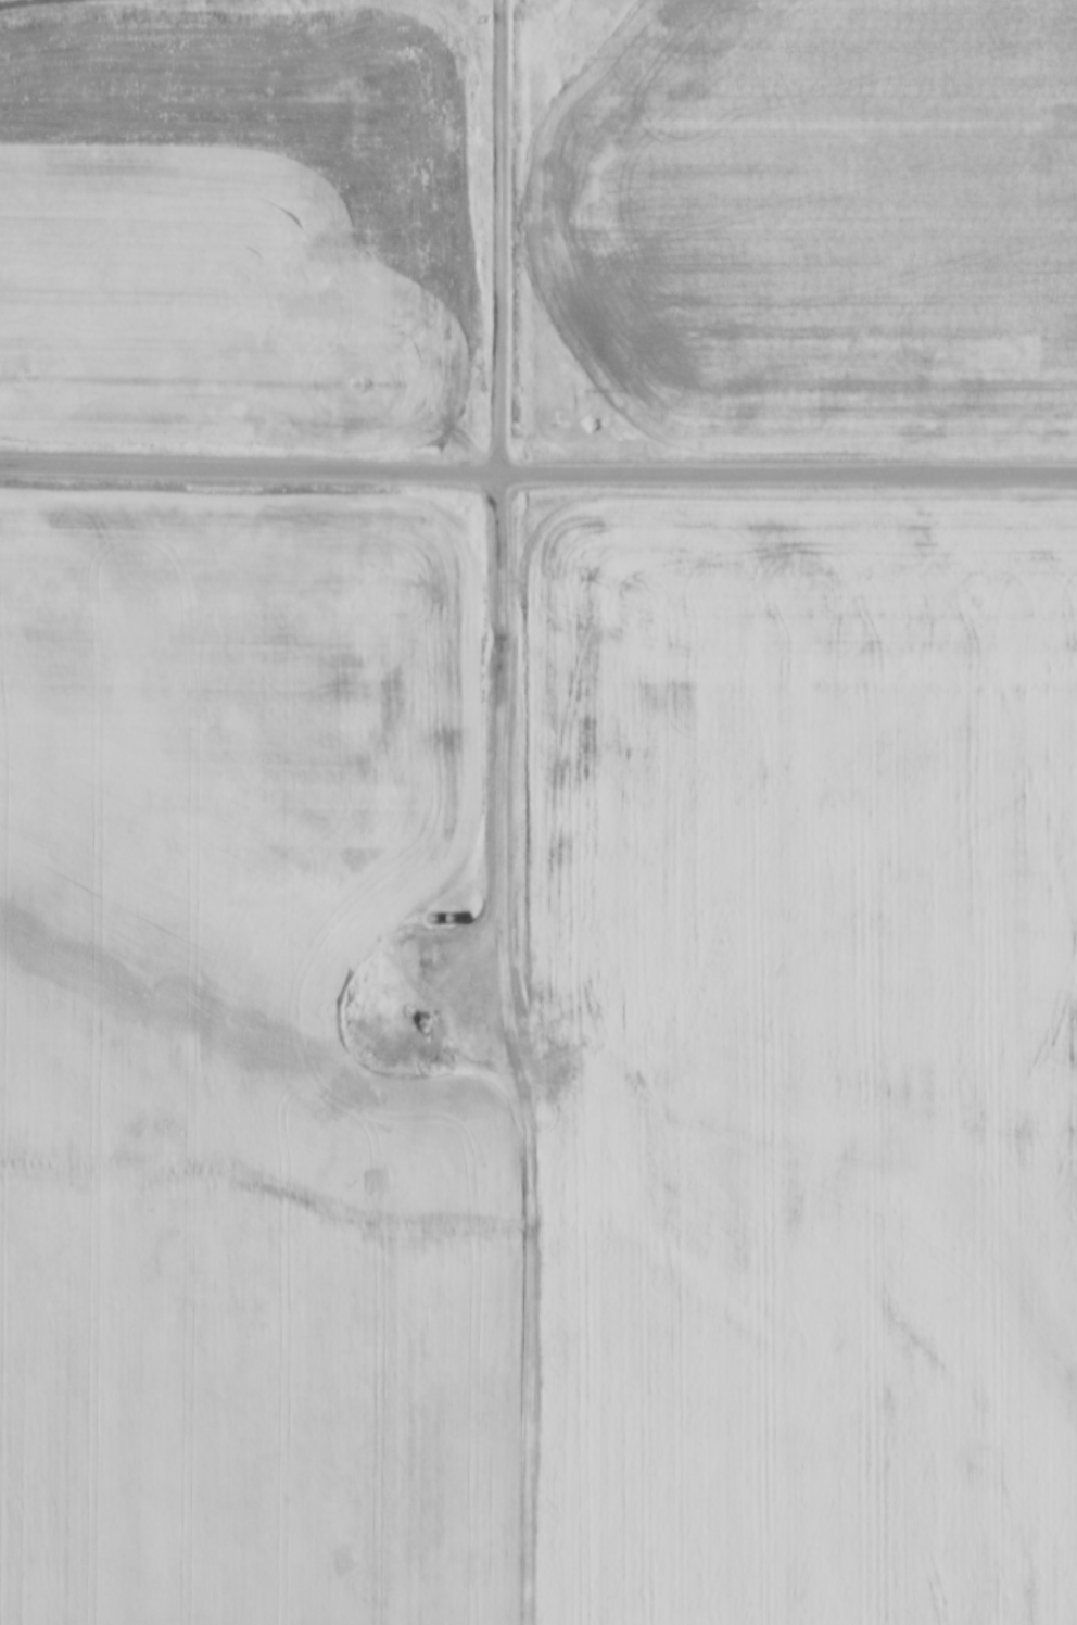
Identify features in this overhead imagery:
road: (503, 236)
road: (537, 471)
building: (432, 916)
road: (516, 1048)

